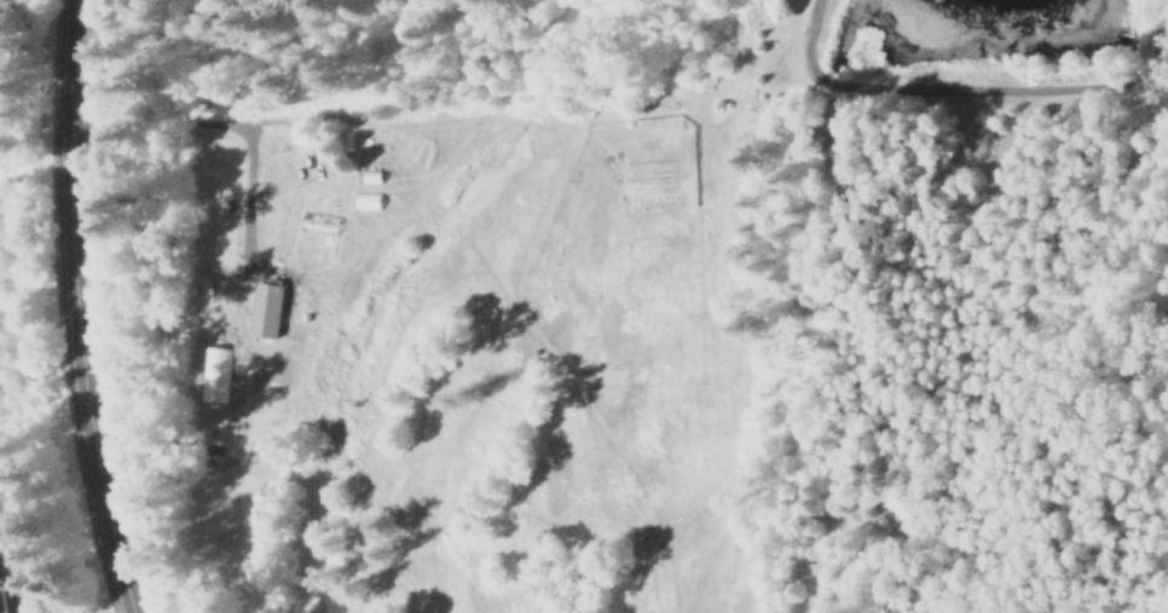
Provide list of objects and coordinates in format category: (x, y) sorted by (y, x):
building: (366, 199)
building: (264, 308)
road: (76, 310)
building: (214, 372)

